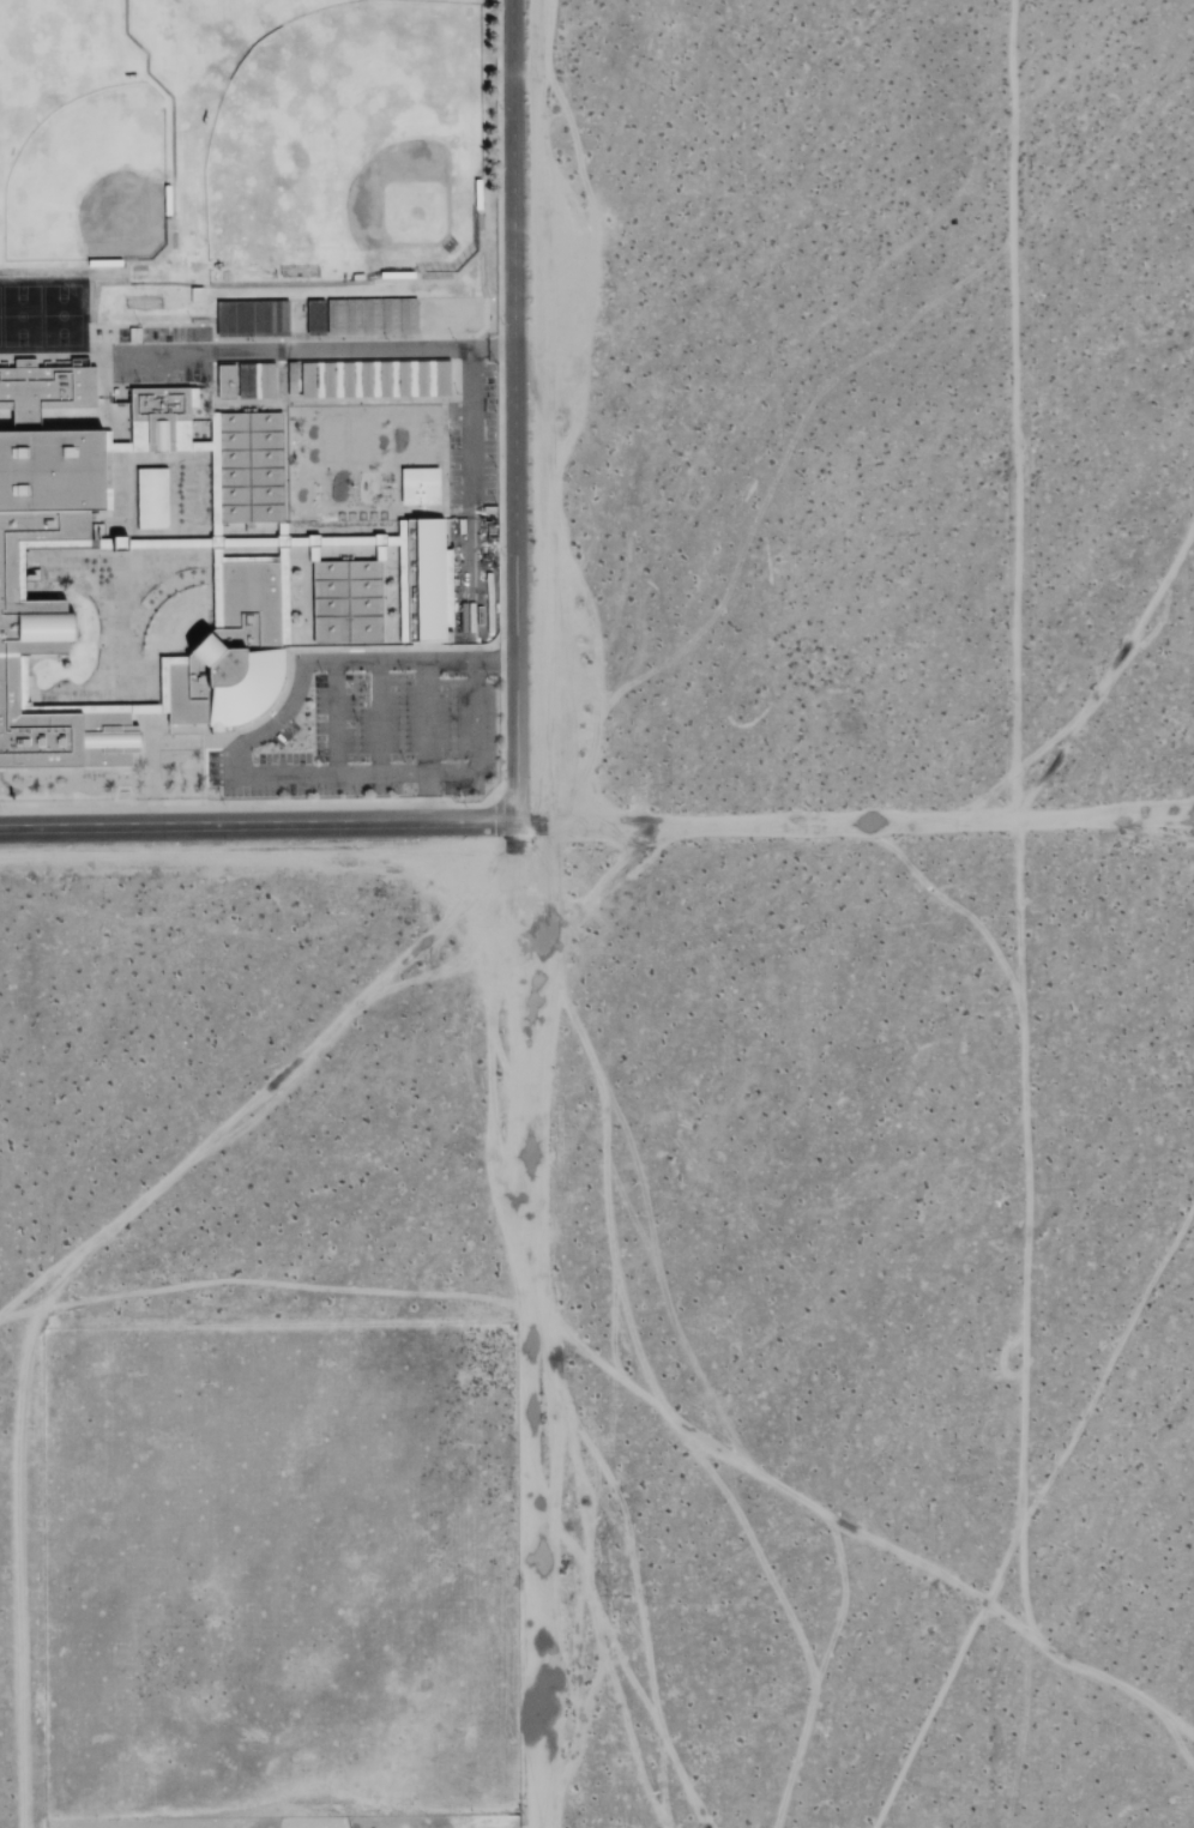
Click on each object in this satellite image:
park: (258, 150)
building: (316, 319)
road: (314, 349)
building: (267, 381)
building: (228, 382)
road: (515, 410)
building: (162, 418)
road: (472, 471)
building: (421, 487)
building: (153, 497)
building: (13, 575)
building: (423, 581)
building: (349, 603)
road: (326, 662)
road: (494, 662)
road: (423, 717)
road: (332, 718)
road: (376, 718)
road: (396, 773)
road: (424, 797)
road: (855, 823)
road: (258, 826)
road: (523, 1325)

